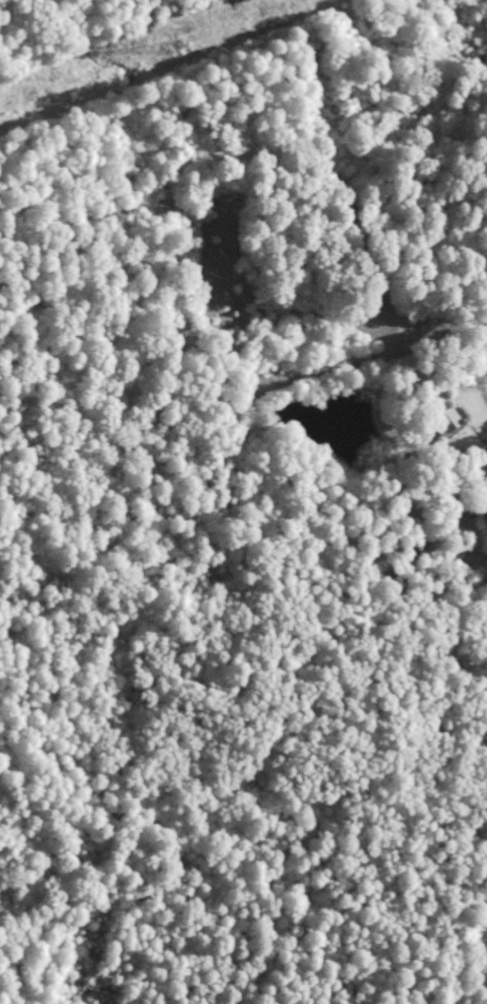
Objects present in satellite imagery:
building: (444, 420)
building: (484, 519)
road: (397, 595)

